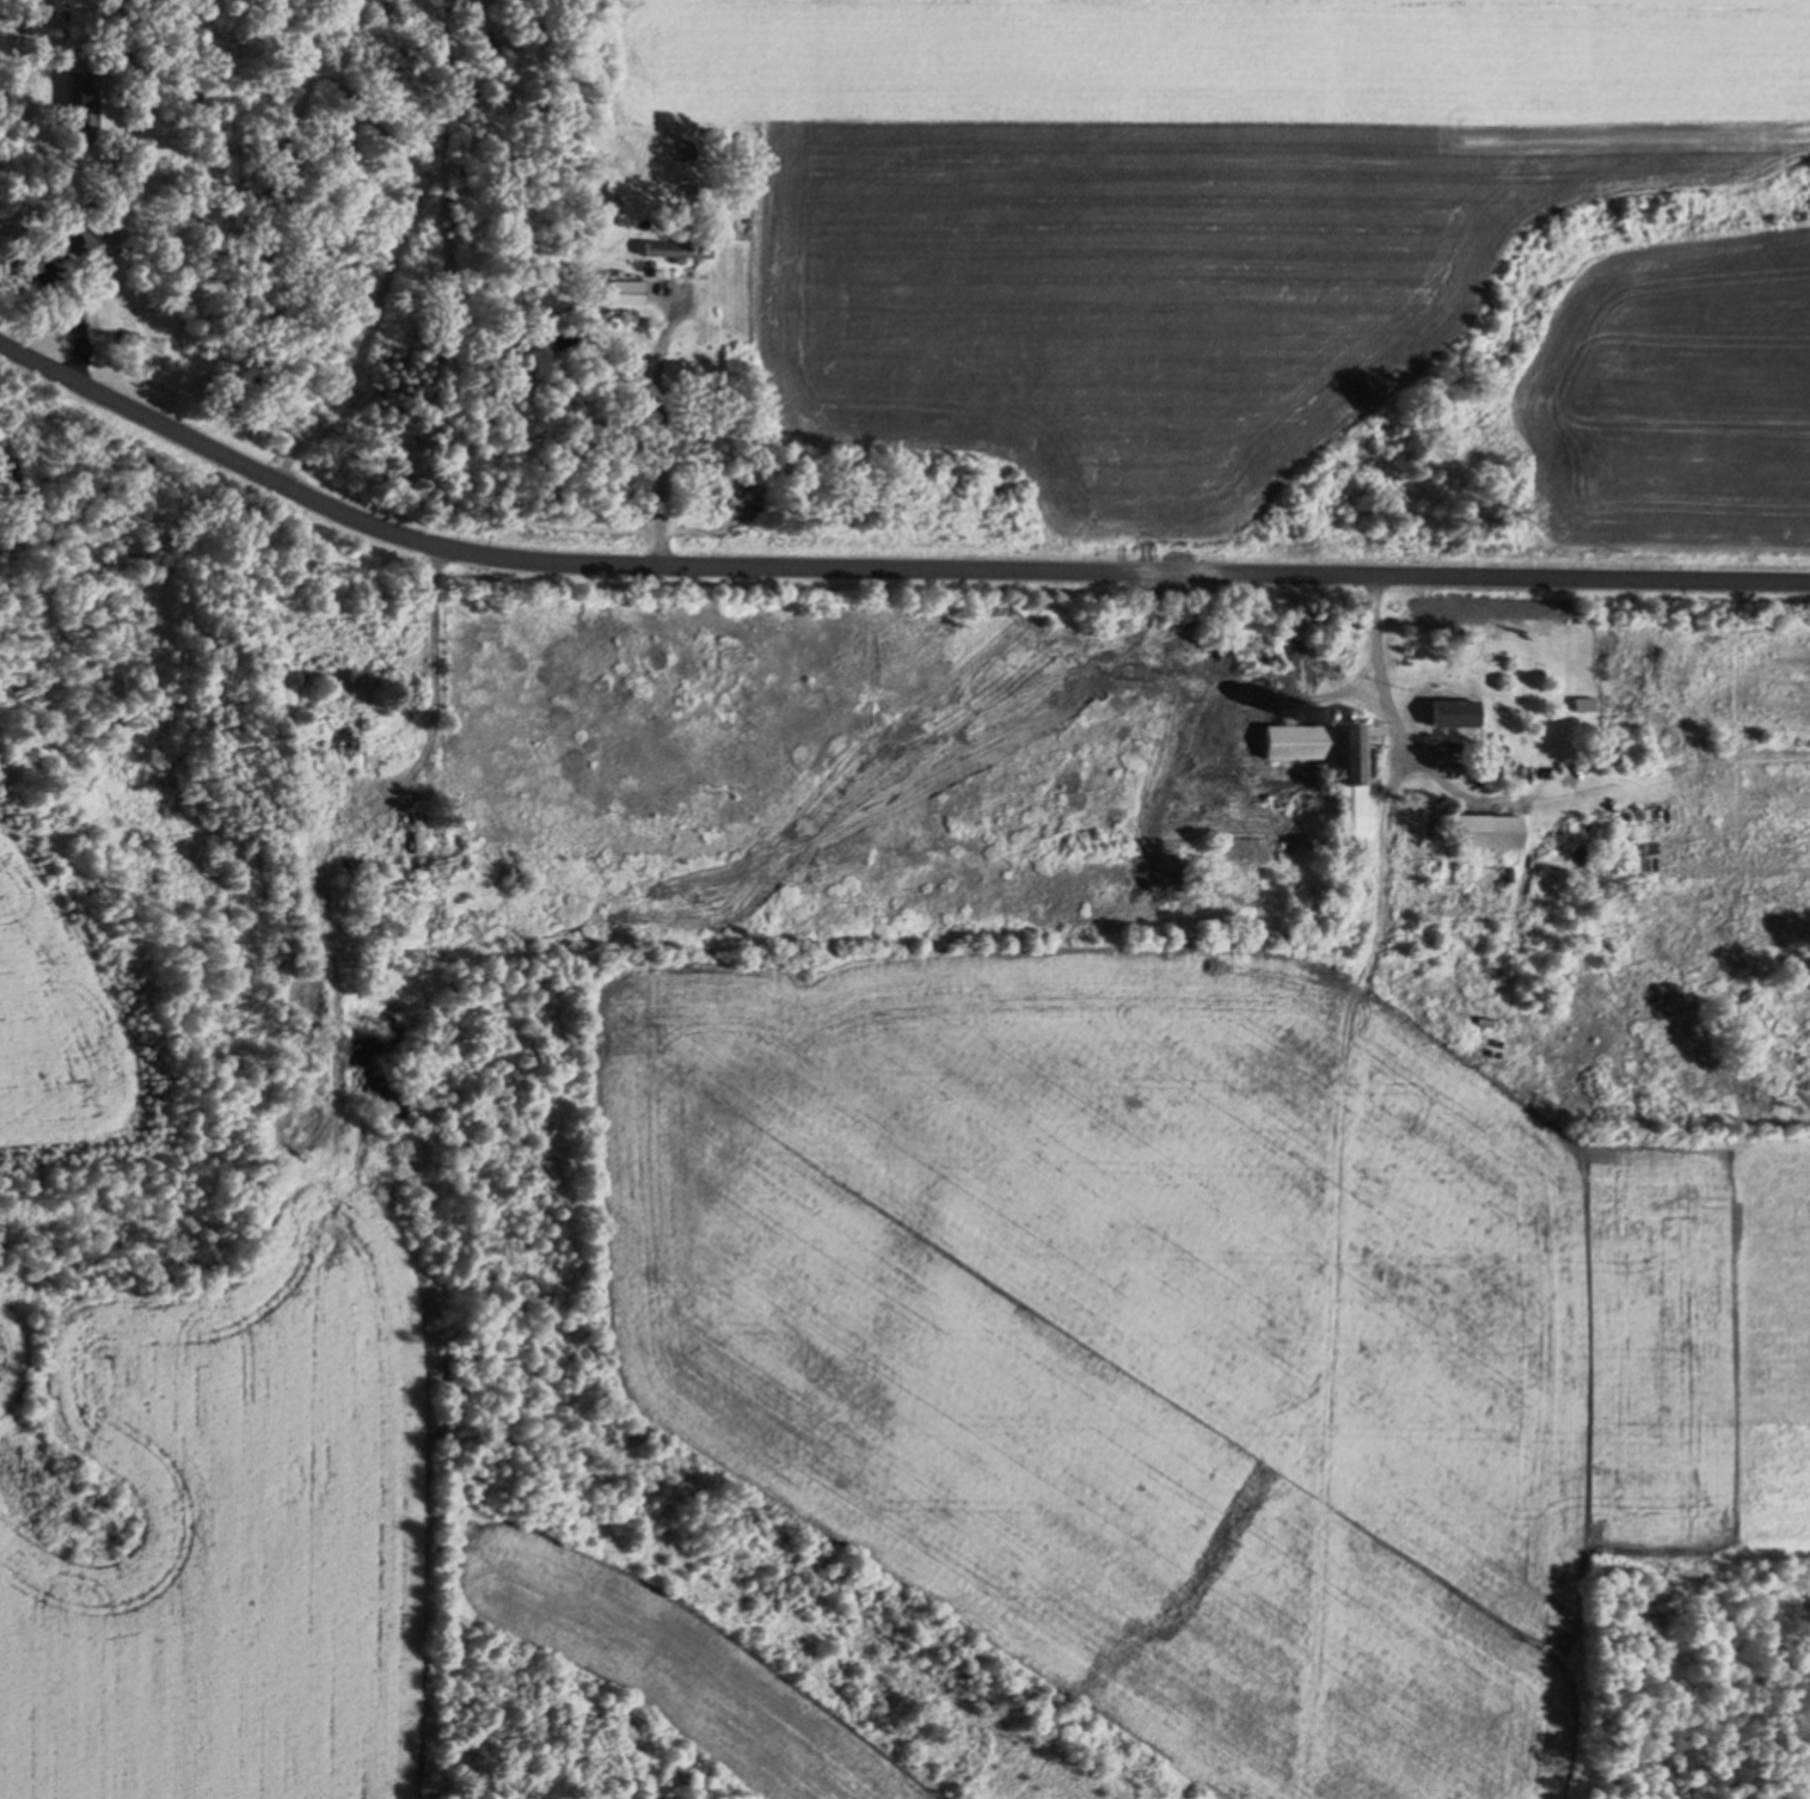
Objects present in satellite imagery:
building: (82, 100)
building: (96, 237)
building: (625, 294)
road: (884, 538)
building: (1585, 706)
building: (1471, 713)
building: (350, 751)
building: (1337, 768)
building: (1489, 834)
building: (419, 835)
building: (417, 884)

